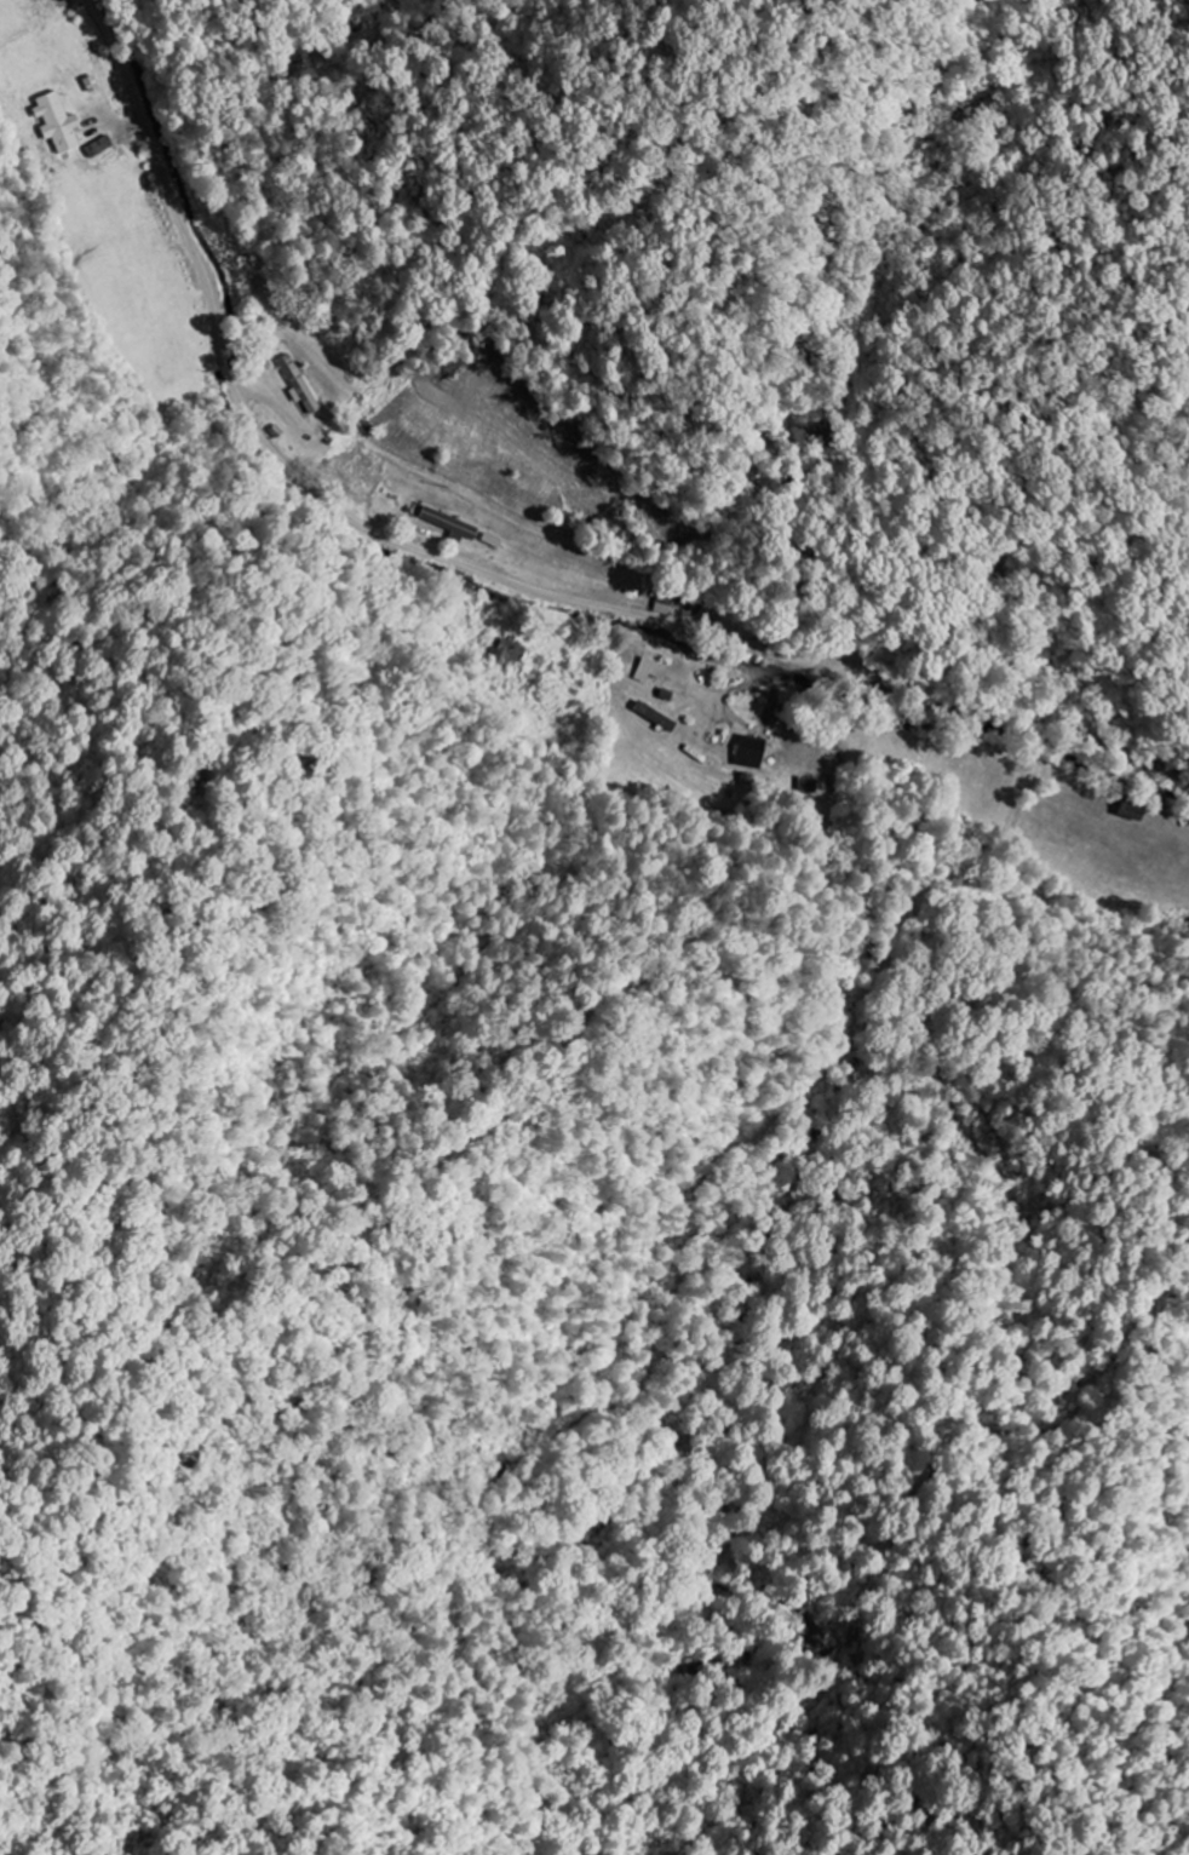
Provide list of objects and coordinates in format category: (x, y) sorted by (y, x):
building: (58, 121)
building: (297, 381)
road: (493, 572)
building: (649, 670)
building: (659, 718)
building: (749, 751)

